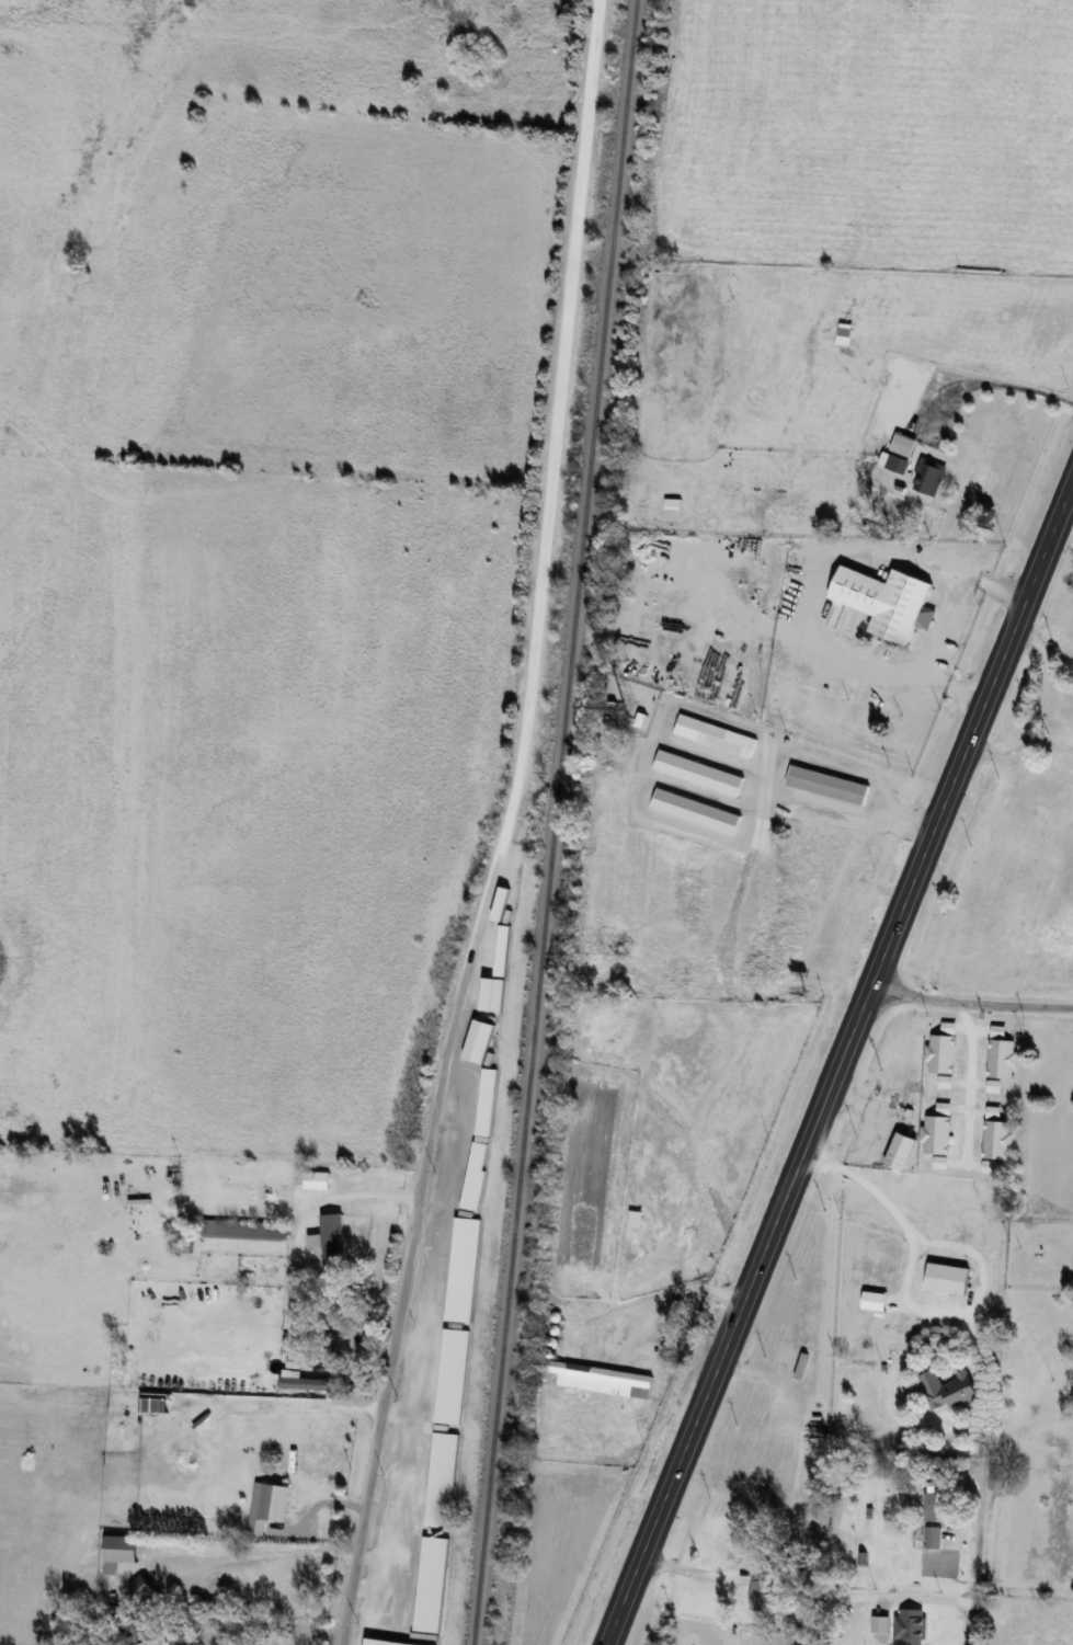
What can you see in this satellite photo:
building: (844, 335)
road: (984, 385)
building: (901, 452)
building: (928, 477)
building: (673, 503)
road: (993, 586)
building: (887, 601)
road: (811, 629)
building: (1065, 711)
building: (716, 735)
road: (809, 757)
building: (827, 785)
railway: (557, 822)
road: (504, 827)
building: (503, 951)
building: (498, 995)
road: (971, 1004)
building: (479, 1041)
road: (842, 1060)
road: (963, 1081)
building: (487, 1101)
building: (967, 1119)
building: (901, 1151)
building: (476, 1175)
building: (244, 1230)
building: (333, 1240)
building: (183, 1242)
building: (640, 1243)
road: (286, 1266)
building: (463, 1269)
building: (947, 1278)
building: (453, 1375)
building: (596, 1379)
building: (312, 1385)
building: (947, 1390)
building: (443, 1478)
building: (938, 1481)
road: (982, 1483)
building: (274, 1501)
building: (933, 1537)
building: (121, 1547)
road: (255, 1554)
road: (695, 1570)
building: (432, 1584)
building: (141, 1590)
building: (760, 1596)
road: (923, 1598)
building: (910, 1626)
building: (144, 1632)
building: (830, 1638)
building: (388, 1642)

